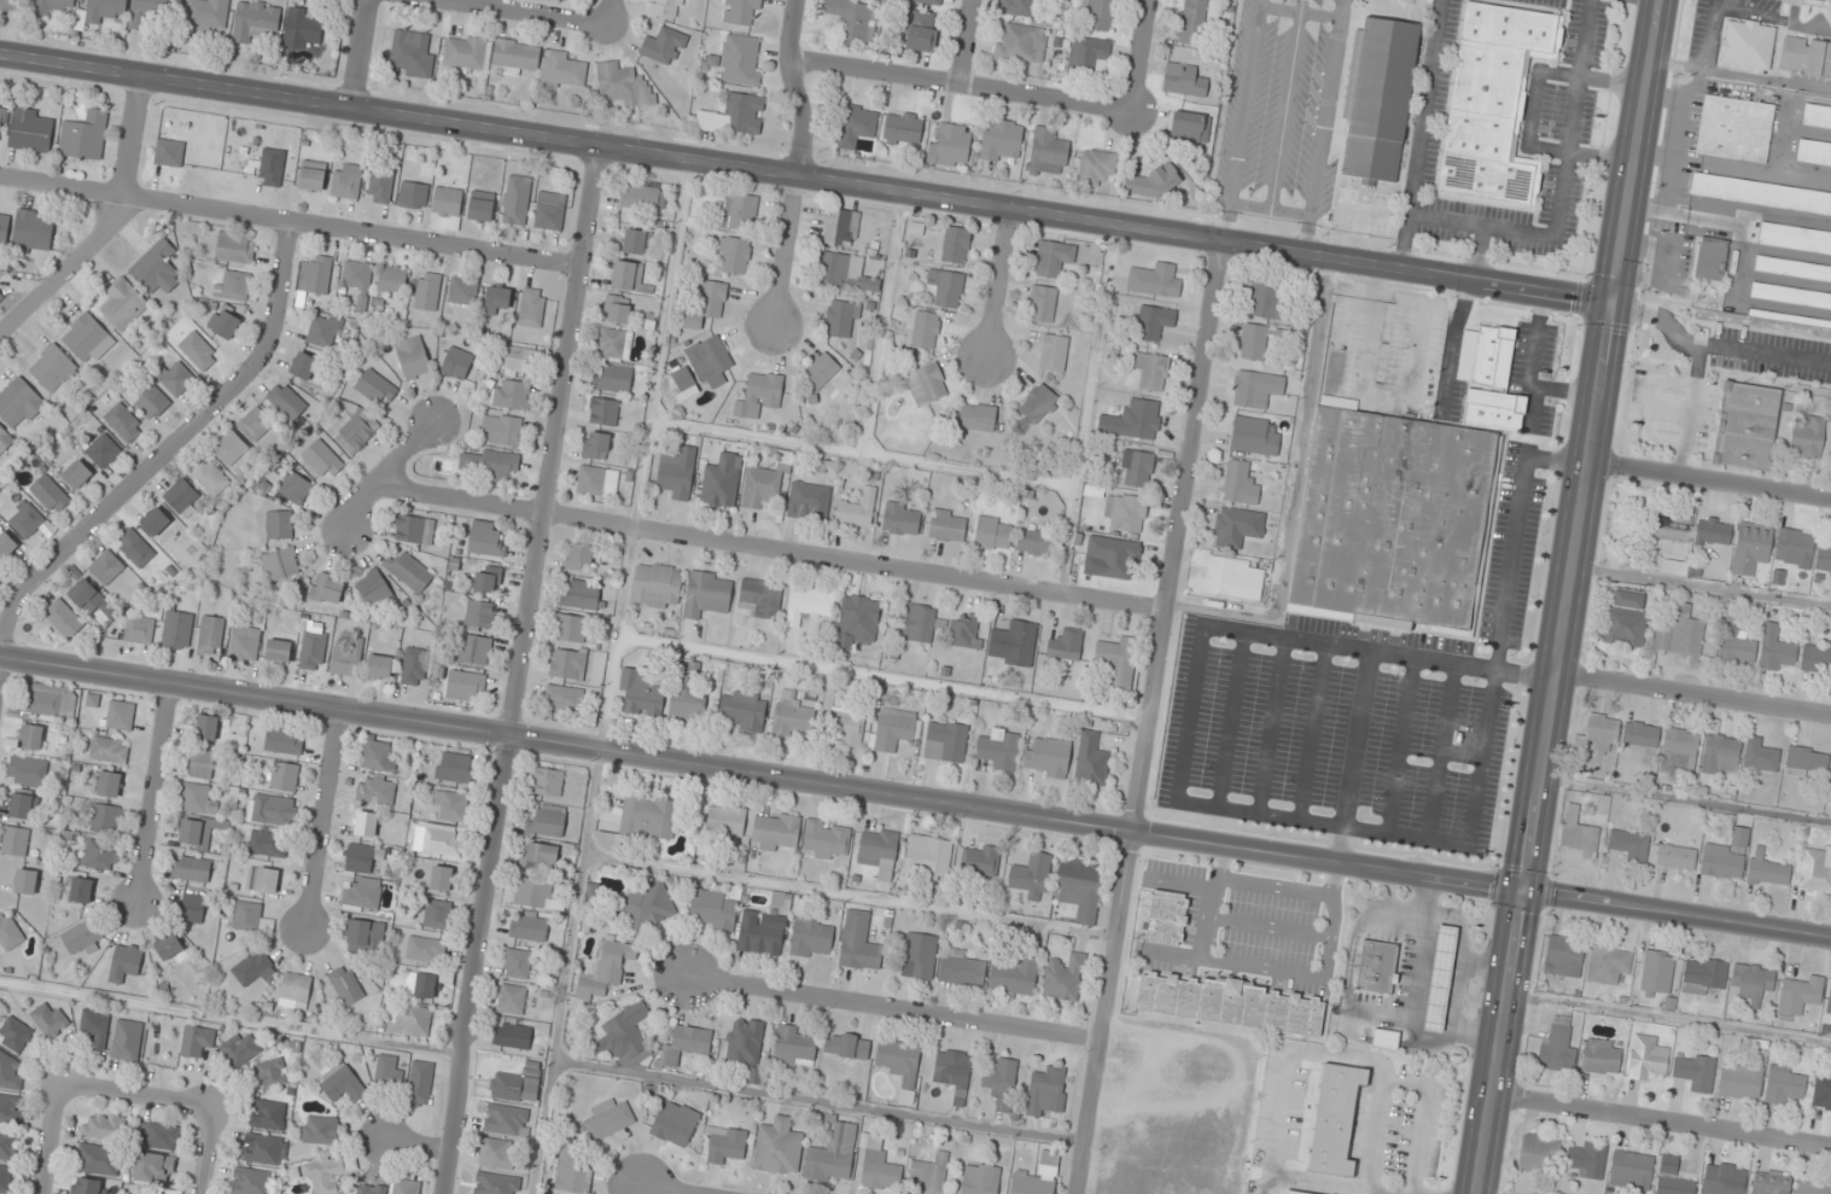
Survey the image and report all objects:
building: (927, 1)
road: (1652, 1)
building: (12, 4)
building: (51, 6)
building: (666, 7)
building: (1019, 7)
building: (106, 10)
building: (741, 11)
road: (525, 12)
road: (610, 12)
building: (148, 13)
building: (208, 13)
building: (1096, 14)
building: (853, 19)
building: (255, 21)
building: (1194, 22)
building: (303, 29)
building: (920, 31)
road: (967, 42)
building: (1021, 43)
building: (664, 45)
building: (1747, 45)
road: (362, 52)
building: (466, 53)
building: (412, 54)
building: (515, 56)
building: (1089, 56)
road: (1138, 57)
building: (1806, 57)
building: (740, 59)
building: (564, 70)
road: (1740, 74)
building: (1183, 80)
building: (617, 82)
road: (961, 85)
building: (1380, 99)
building: (1493, 101)
road: (1533, 107)
building: (735, 115)
building: (1817, 116)
building: (2, 120)
building: (857, 126)
building: (1190, 126)
building: (903, 128)
building: (1734, 129)
building: (30, 130)
building: (83, 135)
road: (1421, 135)
building: (1001, 140)
building: (950, 146)
building: (1048, 152)
building: (169, 153)
building: (1813, 153)
road: (800, 162)
building: (272, 167)
building: (1096, 168)
building: (313, 175)
road: (806, 176)
building: (348, 182)
building: (1155, 182)
building: (380, 185)
road: (1562, 192)
building: (414, 194)
building: (1761, 194)
building: (643, 197)
building: (515, 199)
building: (447, 202)
building: (480, 206)
building: (737, 210)
building: (549, 211)
road: (288, 222)
road: (110, 225)
building: (840, 228)
building: (34, 229)
building: (4, 231)
building: (1795, 239)
building: (642, 241)
building: (956, 245)
building: (235, 249)
building: (734, 255)
road: (1480, 255)
building: (1054, 258)
building: (1710, 258)
building: (157, 268)
building: (1792, 269)
building: (846, 274)
building: (316, 275)
building: (626, 275)
building: (392, 280)
building: (1155, 280)
building: (358, 281)
road: (999, 283)
building: (237, 285)
building: (947, 287)
building: (427, 291)
building: (463, 291)
building: (1, 296)
building: (1791, 296)
building: (496, 297)
building: (1266, 298)
building: (122, 303)
building: (706, 303)
building: (1042, 303)
building: (531, 307)
traffic signals: (1614, 307)
building: (617, 309)
building: (841, 319)
road: (1658, 319)
road: (881, 321)
building: (1154, 322)
building: (226, 324)
building: (926, 330)
building: (323, 331)
building: (87, 338)
building: (1253, 342)
building: (612, 344)
building: (199, 350)
building: (1054, 353)
road: (1765, 353)
parking lot: (1771, 354)
building: (1486, 356)
building: (413, 357)
building: (515, 360)
building: (710, 360)
building: (456, 363)
building: (303, 366)
building: (52, 367)
building: (821, 369)
building: (1151, 371)
building: (174, 377)
building: (682, 377)
building: (613, 379)
building: (926, 384)
building: (375, 388)
building: (1256, 389)
building: (511, 394)
building: (759, 395)
building: (151, 401)
building: (286, 401)
building: (19, 403)
building: (1038, 403)
road: (1085, 408)
road: (1650, 408)
building: (1494, 409)
road: (1687, 409)
building: (603, 412)
building: (976, 417)
building: (1132, 420)
building: (124, 421)
building: (255, 424)
building: (1747, 425)
building: (350, 426)
building: (502, 430)
building: (1253, 436)
building: (1807, 436)
building: (5, 438)
building: (595, 445)
building: (229, 448)
building: (103, 450)
road: (861, 452)
road: (165, 455)
building: (322, 459)
building: (490, 464)
building: (1137, 468)
road: (383, 470)
building: (677, 472)
building: (76, 473)
building: (209, 477)
building: (594, 479)
road: (1710, 479)
building: (722, 480)
building: (1241, 483)
building: (295, 488)
building: (760, 488)
building: (49, 494)
building: (182, 497)
building: (809, 501)
building: (856, 511)
building: (1124, 512)
building: (902, 519)
building: (25, 520)
building: (154, 520)
building: (1390, 520)
building: (279, 525)
building: (947, 525)
building: (1236, 526)
building: (1672, 528)
building: (414, 530)
building: (992, 532)
building: (1713, 532)
building: (486, 538)
building: (1037, 542)
building: (6, 544)
building: (135, 547)
building: (1750, 547)
building: (1794, 547)
road: (766, 548)
building: (578, 557)
building: (1118, 557)
building: (1823, 559)
building: (280, 564)
building: (106, 567)
building: (409, 572)
building: (488, 578)
building: (1232, 579)
building: (655, 586)
road: (1702, 587)
building: (327, 589)
building: (374, 590)
building: (706, 594)
building: (582, 596)
road: (1568, 596)
building: (89, 598)
building: (760, 598)
building: (809, 604)
building: (480, 615)
building: (63, 618)
building: (1625, 618)
road: (1503, 619)
building: (856, 623)
building: (920, 623)
building: (571, 628)
building: (139, 629)
building: (176, 629)
building: (966, 631)
building: (1680, 631)
building: (210, 635)
building: (1734, 642)
building: (244, 643)
building: (1013, 643)
building: (1065, 646)
building: (278, 650)
building: (473, 650)
building: (1775, 650)
building: (311, 651)
road: (1378, 652)
building: (348, 659)
building: (1815, 659)
building: (567, 663)
building: (1116, 664)
building: (379, 666)
building: (414, 666)
road: (517, 668)
road: (608, 675)
road: (880, 677)
building: (466, 683)
building: (687, 691)
building: (642, 692)
road: (1693, 694)
building: (564, 698)
building: (49, 701)
parking lot: (1357, 707)
building: (741, 710)
road: (1188, 712)
building: (119, 716)
building: (792, 717)
road: (1145, 717)
road: (1230, 720)
building: (841, 723)
road: (1270, 726)
building: (206, 727)
building: (892, 729)
road: (1312, 732)
building: (1640, 734)
building: (31, 736)
building: (1598, 736)
building: (284, 741)
building: (945, 741)
road: (1399, 745)
building: (109, 750)
building: (998, 750)
road: (1440, 751)
building: (1679, 751)
building: (377, 755)
building: (1720, 755)
building: (1760, 756)
building: (1091, 761)
building: (1804, 761)
building: (200, 764)
building: (454, 767)
building: (27, 771)
building: (284, 776)
building: (548, 779)
building: (109, 784)
building: (377, 788)
road: (151, 793)
road: (915, 798)
road: (1686, 798)
building: (197, 799)
building: (21, 805)
building: (450, 805)
building: (270, 809)
road: (1343, 812)
building: (105, 819)
road: (322, 820)
building: (637, 820)
building: (547, 821)
building: (725, 822)
road: (1319, 822)
building: (366, 823)
building: (775, 832)
building: (1579, 833)
building: (197, 834)
building: (826, 839)
building: (14, 841)
building: (442, 843)
building: (268, 844)
building: (1631, 845)
building: (877, 851)
building: (99, 855)
building: (540, 856)
building: (1725, 856)
building: (362, 857)
building: (928, 857)
building: (1675, 857)
building: (979, 861)
building: (1766, 868)
building: (1815, 868)
building: (191, 869)
building: (1031, 875)
building: (441, 878)
building: (264, 880)
building: (25, 881)
building: (1079, 887)
building: (81, 890)
traffic signals: (1523, 893)
building: (361, 895)
building: (536, 895)
road: (847, 896)
building: (647, 905)
building: (192, 908)
building: (713, 909)
building: (437, 914)
building: (245, 915)
building: (1167, 918)
building: (529, 927)
building: (765, 927)
building: (8, 931)
building: (810, 936)
building: (82, 937)
building: (365, 937)
building: (858, 942)
building: (169, 947)
building: (425, 949)
building: (919, 955)
building: (1563, 956)
building: (124, 962)
building: (1608, 962)
building: (517, 963)
building: (1375, 966)
building: (961, 968)
building: (252, 969)
building: (607, 969)
building: (1657, 972)
building: (1015, 975)
gas station: (1436, 975)
building: (1704, 975)
building: (1439, 978)
building: (1063, 979)
building: (1751, 982)
building: (420, 984)
building: (346, 985)
building: (296, 989)
building: (1800, 995)
building: (511, 998)
building: (1829, 1000)
building: (1231, 1003)
road: (894, 1008)
building: (48, 1019)
road: (229, 1019)
road: (1669, 1019)
building: (408, 1020)
building: (95, 1027)
building: (14, 1033)
building: (512, 1035)
building: (625, 1036)
building: (1382, 1038)
building: (127, 1041)
building: (196, 1041)
building: (686, 1044)
building: (847, 1044)
building: (794, 1046)
building: (745, 1047)
building: (1557, 1047)
building: (240, 1049)
building: (1602, 1056)
building: (1646, 1058)
building: (900, 1065)
building: (387, 1071)
building: (1695, 1071)
building: (10, 1072)
building: (273, 1072)
building: (954, 1072)
building: (1739, 1082)
building: (419, 1083)
building: (1001, 1083)
building: (342, 1084)
building: (517, 1084)
building: (1784, 1084)
building: (1046, 1091)
building: (1821, 1091)
road: (139, 1099)
road: (815, 1101)
building: (10, 1109)
building: (268, 1114)
building: (1333, 1119)
building: (507, 1120)
building: (607, 1120)
building: (675, 1123)
road: (1662, 1124)
building: (104, 1126)
building: (320, 1130)
building: (158, 1136)
road: (54, 1140)
building: (7, 1145)
road: (416, 1145)
building: (725, 1145)
building: (779, 1147)
building: (263, 1149)
road: (206, 1153)
building: (496, 1153)
building: (1538, 1153)
building: (832, 1155)
building: (1586, 1158)
building: (98, 1159)
building: (877, 1165)
building: (152, 1167)
building: (1631, 1170)
building: (573, 1173)
building: (928, 1175)
building: (323, 1176)
building: (1037, 1176)
building: (1672, 1177)
building: (5, 1178)
building: (980, 1178)
building: (1722, 1178)
building: (251, 1181)
building: (1771, 1182)
building: (495, 1183)
building: (89, 1186)
building: (406, 1187)
building: (1812, 1187)
building: (371, 1189)
road: (666, 1190)
building: (1293, 1192)

